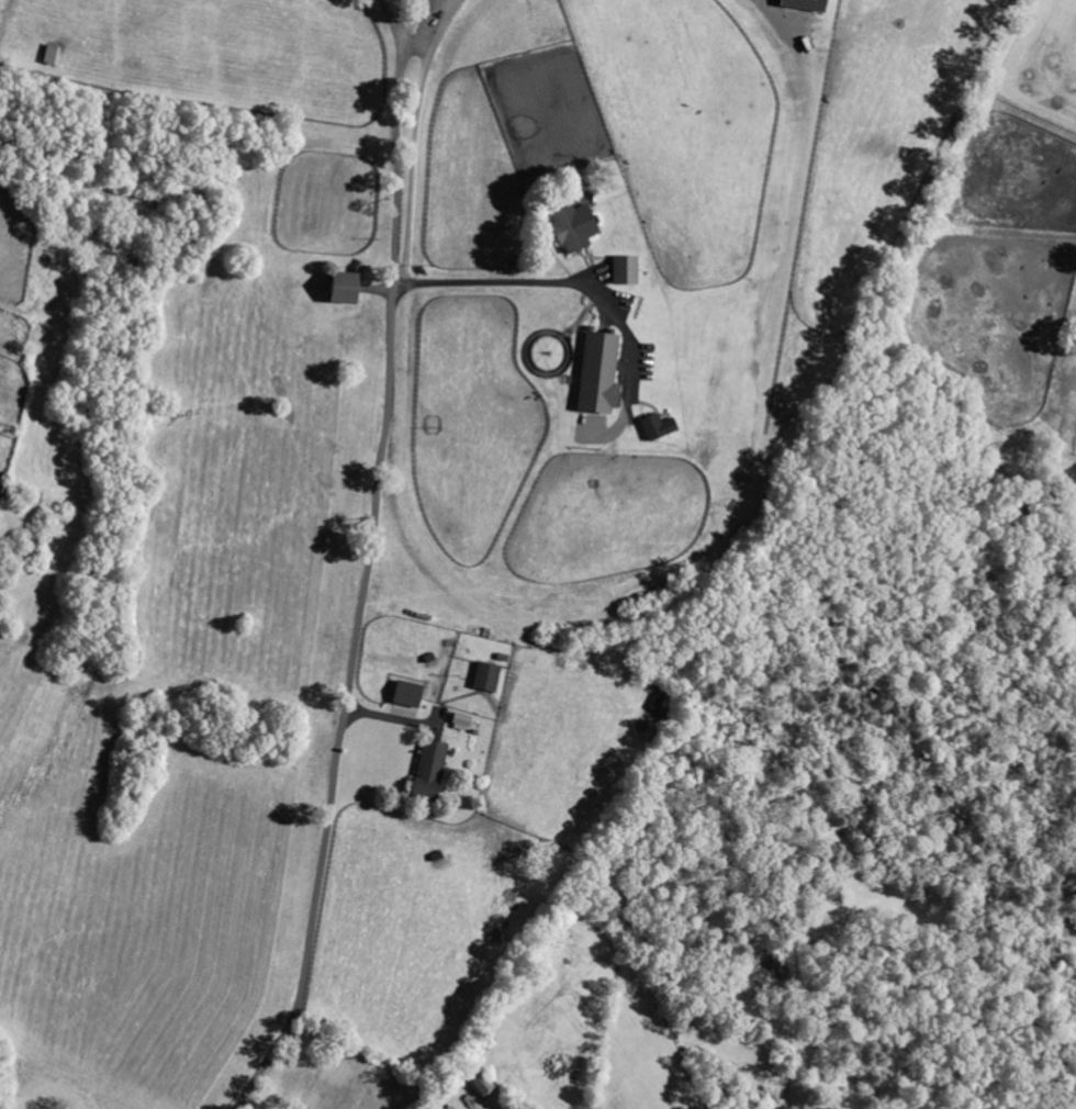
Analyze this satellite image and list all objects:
building: (799, 4)
road: (771, 11)
road: (401, 18)
road: (413, 40)
building: (48, 55)
road: (395, 137)
road: (414, 139)
building: (570, 226)
building: (623, 269)
road: (554, 282)
building: (337, 288)
building: (595, 373)
building: (654, 426)
building: (483, 676)
building: (404, 694)
road: (344, 701)
building: (459, 721)
building: (426, 770)

